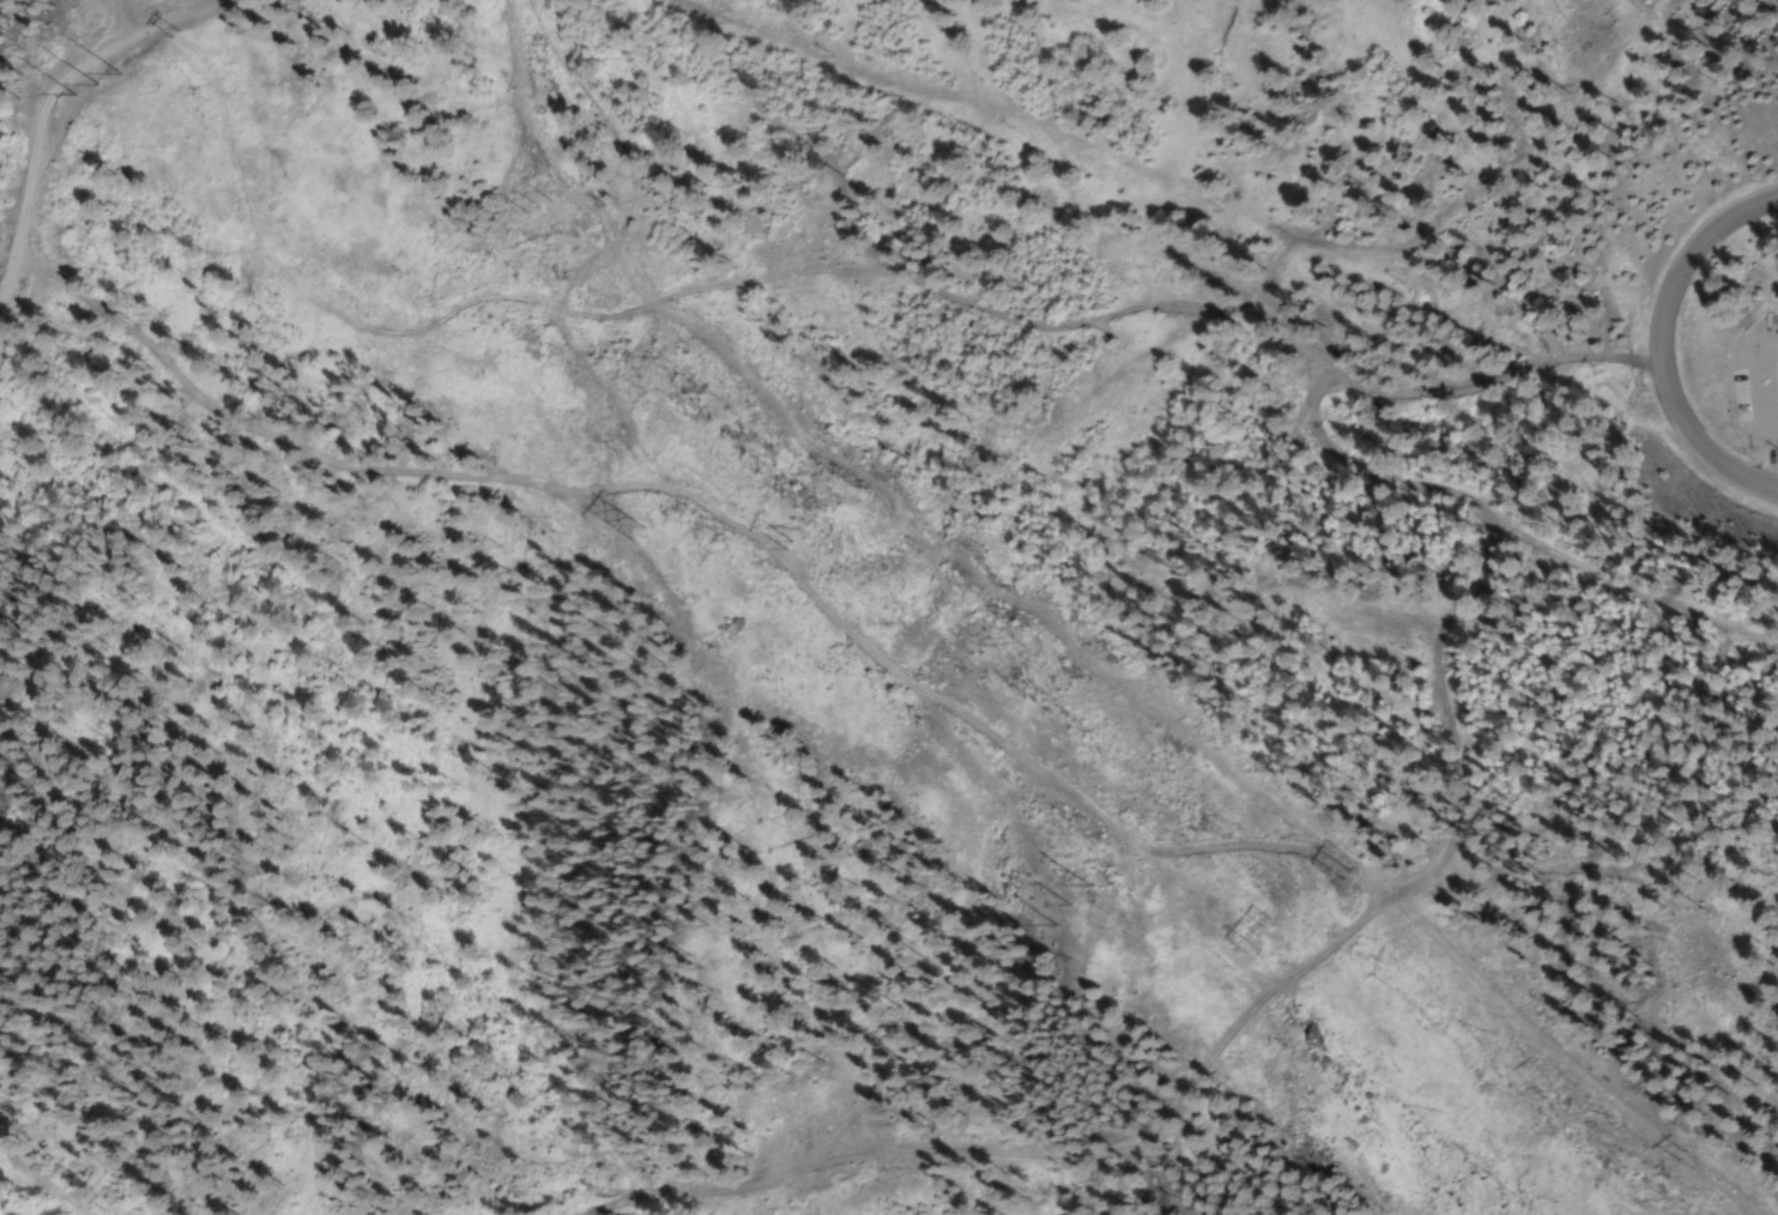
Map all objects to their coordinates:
power tower: (99, 83)
road: (46, 105)
road: (1657, 340)
power tower: (631, 525)
building: (2, 616)
power tower: (1063, 900)
power tower: (1242, 938)

